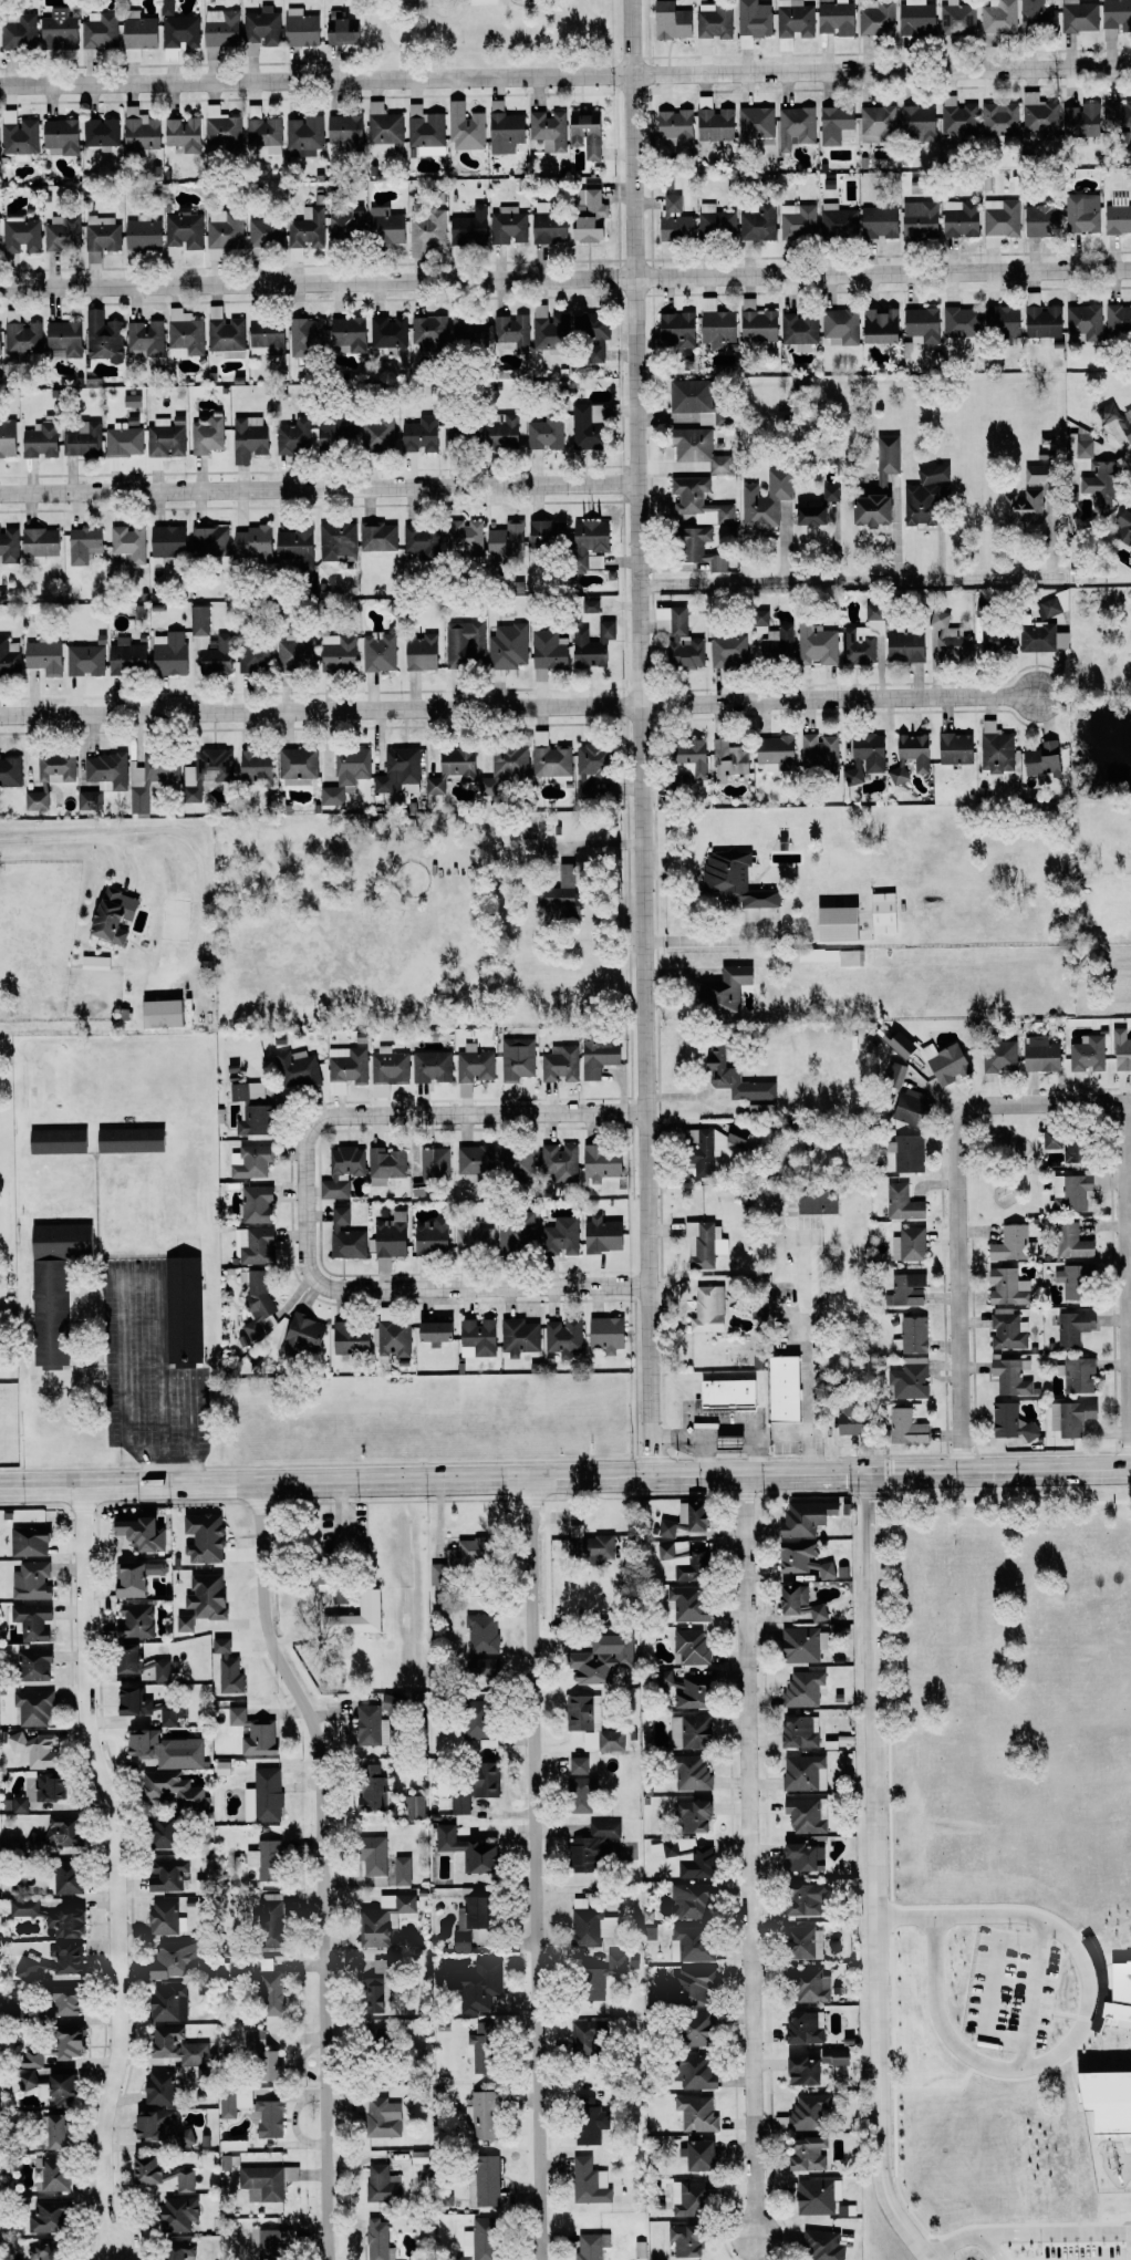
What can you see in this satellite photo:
building: (1035, 15)
building: (1078, 15)
building: (997, 17)
building: (1114, 17)
building: (832, 18)
building: (913, 18)
building: (955, 18)
building: (749, 19)
building: (791, 19)
building: (667, 20)
building: (710, 20)
building: (222, 27)
building: (62, 28)
building: (262, 28)
building: (299, 28)
building: (20, 30)
building: (101, 30)
building: (340, 31)
building: (142, 32)
road: (565, 76)
building: (957, 115)
building: (1038, 115)
building: (999, 118)
building: (875, 120)
building: (1079, 120)
building: (1117, 120)
building: (712, 121)
building: (916, 122)
building: (756, 123)
building: (833, 124)
building: (673, 125)
building: (464, 126)
building: (795, 126)
building: (343, 127)
building: (383, 127)
building: (222, 128)
building: (546, 128)
building: (144, 129)
building: (103, 131)
building: (504, 131)
building: (583, 131)
building: (186, 133)
building: (266, 133)
building: (21, 134)
building: (304, 135)
building: (64, 136)
building: (0, 142)
building: (1080, 211)
building: (585, 215)
building: (1116, 216)
building: (999, 217)
building: (672, 218)
building: (917, 218)
building: (958, 218)
building: (1038, 219)
building: (714, 220)
building: (797, 220)
building: (837, 220)
building: (757, 221)
building: (875, 221)
building: (347, 225)
building: (385, 225)
building: (506, 225)
building: (543, 225)
building: (466, 227)
building: (226, 228)
building: (308, 228)
building: (425, 229)
building: (266, 230)
building: (0, 231)
building: (184, 231)
building: (64, 232)
building: (103, 232)
building: (145, 232)
building: (22, 235)
road: (564, 279)
building: (1117, 318)
building: (1038, 319)
building: (754, 321)
building: (958, 321)
building: (999, 322)
building: (1081, 322)
building: (713, 324)
building: (920, 324)
building: (587, 325)
building: (858, 325)
building: (797, 329)
building: (673, 330)
building: (509, 331)
building: (542, 331)
building: (187, 332)
building: (227, 332)
building: (353, 332)
building: (391, 332)
building: (448, 332)
building: (270, 335)
building: (310, 335)
building: (69, 336)
building: (104, 336)
building: (25, 338)
building: (147, 338)
building: (1, 339)
building: (592, 352)
building: (688, 397)
building: (134, 400)
building: (1117, 419)
building: (497, 428)
building: (469, 431)
building: (338, 432)
building: (541, 433)
building: (209, 434)
building: (424, 434)
building: (380, 435)
building: (295, 436)
building: (9, 437)
building: (167, 437)
building: (126, 438)
building: (85, 439)
building: (43, 440)
building: (251, 440)
building: (1078, 445)
building: (693, 447)
building: (158, 462)
building: (1029, 474)
building: (1096, 483)
building: (878, 484)
road: (318, 486)
building: (828, 491)
building: (921, 495)
building: (762, 499)
building: (697, 500)
building: (1021, 507)
building: (806, 514)
building: (1121, 523)
building: (542, 531)
building: (463, 535)
building: (380, 537)
building: (212, 539)
building: (418, 539)
building: (501, 539)
building: (170, 540)
building: (131, 542)
building: (258, 542)
building: (10, 543)
building: (43, 543)
building: (85, 543)
building: (585, 543)
building: (299, 546)
building: (694, 548)
road: (850, 581)
building: (1050, 604)
building: (587, 605)
building: (757, 616)
building: (861, 636)
building: (676, 637)
building: (1039, 637)
building: (947, 639)
building: (995, 639)
building: (201, 640)
building: (464, 643)
building: (775, 643)
building: (589, 644)
building: (813, 644)
building: (901, 644)
building: (504, 649)
building: (543, 649)
building: (726, 650)
building: (342, 651)
building: (382, 651)
building: (425, 652)
building: (173, 653)
building: (298, 654)
building: (46, 655)
building: (129, 656)
building: (257, 656)
building: (9, 657)
building: (86, 659)
building: (538, 674)
road: (518, 705)
road: (637, 738)
building: (993, 747)
building: (952, 748)
building: (771, 751)
building: (818, 753)
building: (862, 756)
building: (907, 756)
building: (547, 758)
building: (725, 758)
building: (1039, 759)
building: (506, 760)
building: (684, 761)
building: (461, 763)
building: (259, 765)
building: (301, 765)
building: (58, 766)
building: (401, 768)
building: (584, 768)
building: (11, 770)
building: (108, 770)
building: (209, 770)
building: (349, 773)
building: (156, 778)
building: (438, 784)
building: (38, 800)
building: (92, 800)
road: (74, 837)
road: (591, 842)
building: (731, 879)
building: (557, 893)
building: (881, 912)
building: (117, 915)
building: (831, 923)
road: (706, 940)
building: (849, 956)
building: (97, 962)
building: (720, 988)
building: (167, 1013)
building: (899, 1043)
building: (1119, 1049)
building: (1037, 1053)
building: (1085, 1053)
building: (595, 1055)
building: (996, 1057)
building: (519, 1058)
building: (941, 1060)
building: (558, 1062)
building: (391, 1066)
building: (434, 1066)
building: (347, 1067)
building: (299, 1068)
building: (892, 1074)
building: (729, 1076)
building: (906, 1105)
building: (756, 1108)
building: (255, 1110)
road: (437, 1113)
building: (134, 1139)
building: (712, 1143)
building: (1065, 1145)
building: (904, 1151)
building: (473, 1158)
building: (515, 1160)
building: (557, 1160)
building: (253, 1161)
building: (433, 1161)
building: (596, 1162)
building: (387, 1164)
building: (344, 1171)
building: (1075, 1189)
building: (812, 1201)
building: (900, 1201)
road: (956, 1201)
building: (259, 1203)
building: (513, 1230)
building: (599, 1233)
building: (346, 1234)
building: (387, 1234)
building: (558, 1235)
building: (427, 1236)
building: (470, 1236)
building: (1069, 1241)
building: (696, 1243)
building: (906, 1243)
building: (1008, 1243)
building: (258, 1245)
road: (128, 1278)
building: (1070, 1281)
building: (1005, 1286)
road: (1125, 1286)
building: (58, 1287)
road: (438, 1288)
building: (903, 1288)
road: (801, 1290)
building: (260, 1300)
building: (705, 1308)
building: (186, 1309)
building: (1070, 1326)
building: (1006, 1329)
building: (303, 1330)
building: (430, 1330)
building: (603, 1333)
building: (911, 1334)
building: (560, 1335)
building: (516, 1336)
building: (347, 1337)
building: (474, 1337)
building: (391, 1338)
building: (1077, 1372)
building: (1008, 1375)
building: (907, 1378)
building: (779, 1387)
building: (715, 1393)
building: (1068, 1416)
building: (844, 1418)
building: (1008, 1421)
building: (902, 1427)
road: (740, 1428)
road: (781, 1433)
road: (692, 1437)
road: (191, 1440)
building: (722, 1440)
road: (194, 1470)
road: (1035, 1470)
road: (903, 1472)
road: (830, 1473)
road: (397, 1480)
building: (687, 1515)
building: (801, 1517)
building: (664, 1527)
building: (144, 1532)
building: (207, 1536)
building: (32, 1540)
building: (585, 1544)
building: (460, 1554)
building: (799, 1558)
building: (312, 1575)
building: (139, 1577)
building: (33, 1579)
building: (210, 1595)
building: (795, 1601)
building: (682, 1604)
building: (351, 1615)
building: (34, 1619)
building: (1085, 1619)
building: (137, 1620)
building: (187, 1621)
building: (479, 1632)
building: (796, 1644)
building: (687, 1645)
building: (133, 1658)
building: (598, 1658)
building: (35, 1662)
building: (230, 1666)
building: (478, 1667)
building: (164, 1670)
building: (664, 1679)
building: (800, 1688)
building: (688, 1692)
building: (137, 1700)
building: (35, 1707)
building: (169, 1712)
building: (588, 1723)
building: (364, 1724)
building: (469, 1725)
building: (686, 1730)
building: (796, 1730)
building: (257, 1732)
building: (169, 1748)
building: (37, 1749)
building: (575, 1764)
building: (687, 1771)
building: (799, 1771)
building: (985, 1773)
building: (479, 1779)
building: (1071, 1786)
building: (367, 1787)
building: (54, 1789)
building: (174, 1789)
building: (578, 1792)
building: (266, 1794)
building: (18, 1803)
building: (457, 1804)
building: (411, 1805)
building: (802, 1814)
building: (65, 1831)
building: (167, 1831)
building: (812, 1839)
building: (589, 1846)
building: (463, 1848)
building: (799, 1855)
building: (371, 1856)
building: (683, 1856)
road: (750, 1856)
building: (269, 1858)
road: (318, 1865)
road: (116, 1867)
building: (400, 1869)
road: (535, 1869)
road: (873, 1874)
building: (170, 1875)
building: (68, 1876)
building: (800, 1898)
building: (686, 1900)
building: (25, 1906)
building: (274, 1911)
building: (167, 1917)
building: (381, 1919)
building: (466, 1920)
building: (71, 1922)
building: (688, 1942)
building: (800, 1942)
building: (69, 1957)
building: (176, 1958)
building: (1023, 1959)
building: (378, 1964)
building: (27, 1967)
building: (594, 1977)
building: (269, 1980)
building: (806, 1983)
building: (689, 1984)
building: (475, 1986)
building: (370, 1995)
building: (1117, 1998)
building: (66, 2000)
building: (170, 2002)
road: (1085, 2009)
building: (800, 2025)
building: (689, 2028)
building: (581, 2038)
building: (73, 2041)
building: (180, 2045)
building: (478, 2045)
building: (34, 2056)
building: (830, 2056)
building: (691, 2070)
building: (798, 2070)
building: (29, 2077)
building: (163, 2087)
building: (66, 2088)
building: (934, 2102)
building: (971, 2103)
building: (228, 2104)
building: (805, 2111)
building: (1102, 2111)
building: (264, 2113)
building: (694, 2113)
building: (479, 2114)
building: (583, 2119)
building: (907, 2121)
building: (164, 2127)
building: (62, 2131)
building: (237, 2144)
building: (695, 2154)
building: (231, 2160)
building: (53, 2173)
building: (165, 2174)
building: (480, 2179)
building: (263, 2181)
building: (587, 2181)
building: (378, 2183)
building: (812, 2196)
building: (688, 2197)
building: (180, 2212)
building: (50, 2216)
building: (376, 2239)
building: (683, 2239)
building: (477, 2240)
building: (273, 2241)
building: (821, 2246)
building: (587, 2247)
building: (49, 2251)
building: (183, 2251)

